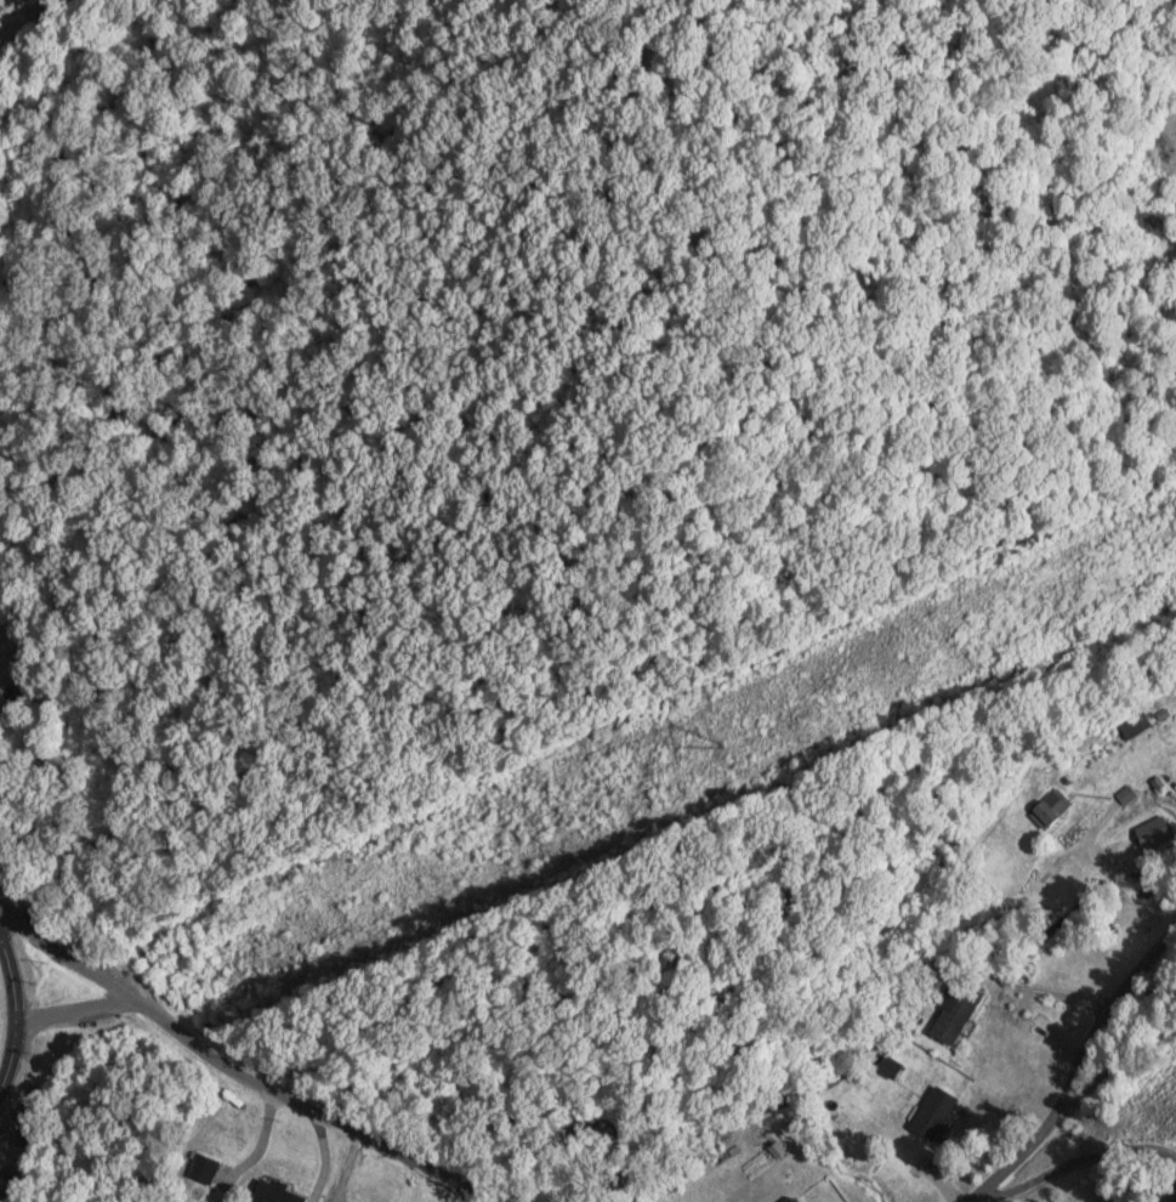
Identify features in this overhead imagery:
building: (1132, 725)
power tower: (720, 750)
building: (1047, 807)
building: (1153, 834)
road: (70, 957)
road: (893, 983)
building: (954, 1011)
road: (79, 1013)
road: (16, 1014)
road: (1075, 1072)
road: (313, 1112)
building: (933, 1113)
building: (752, 1185)
building: (273, 1194)

